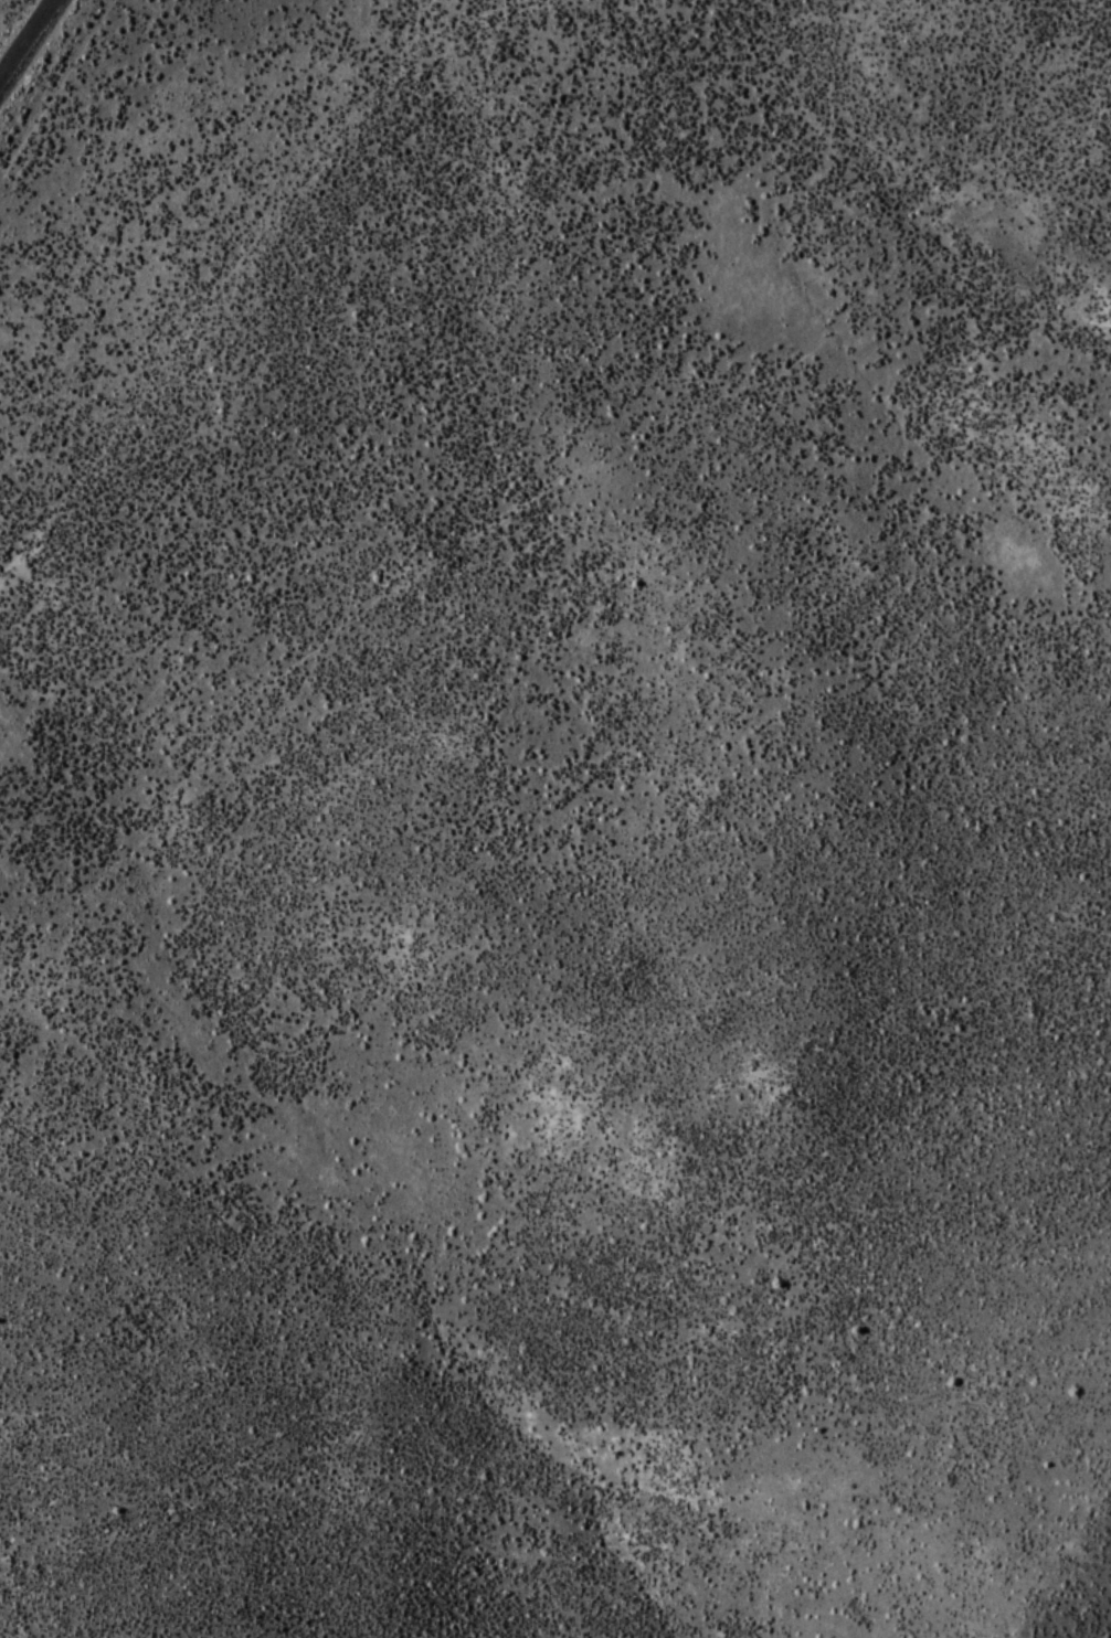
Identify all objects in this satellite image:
road: (27, 38)

